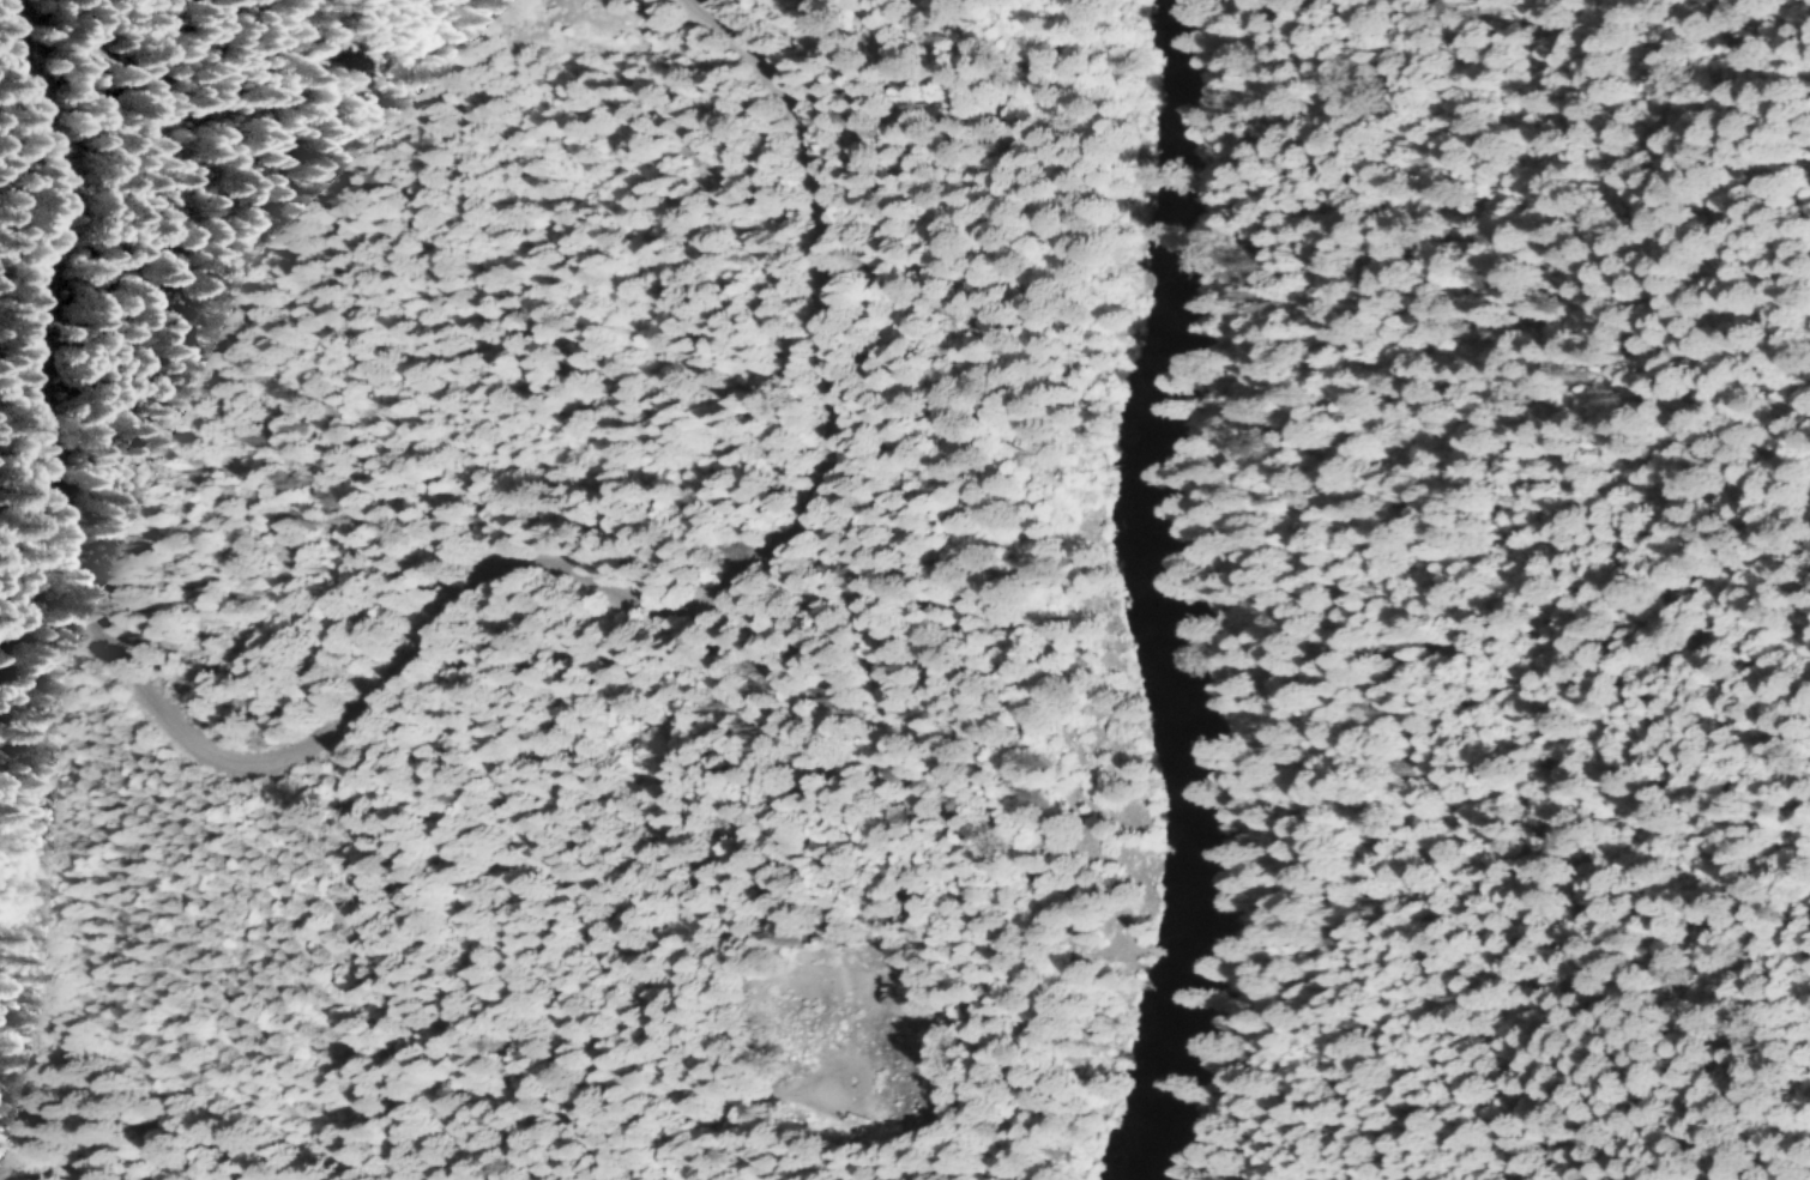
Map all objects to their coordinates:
road: (1316, 558)
river: (1178, 593)
road: (409, 645)

